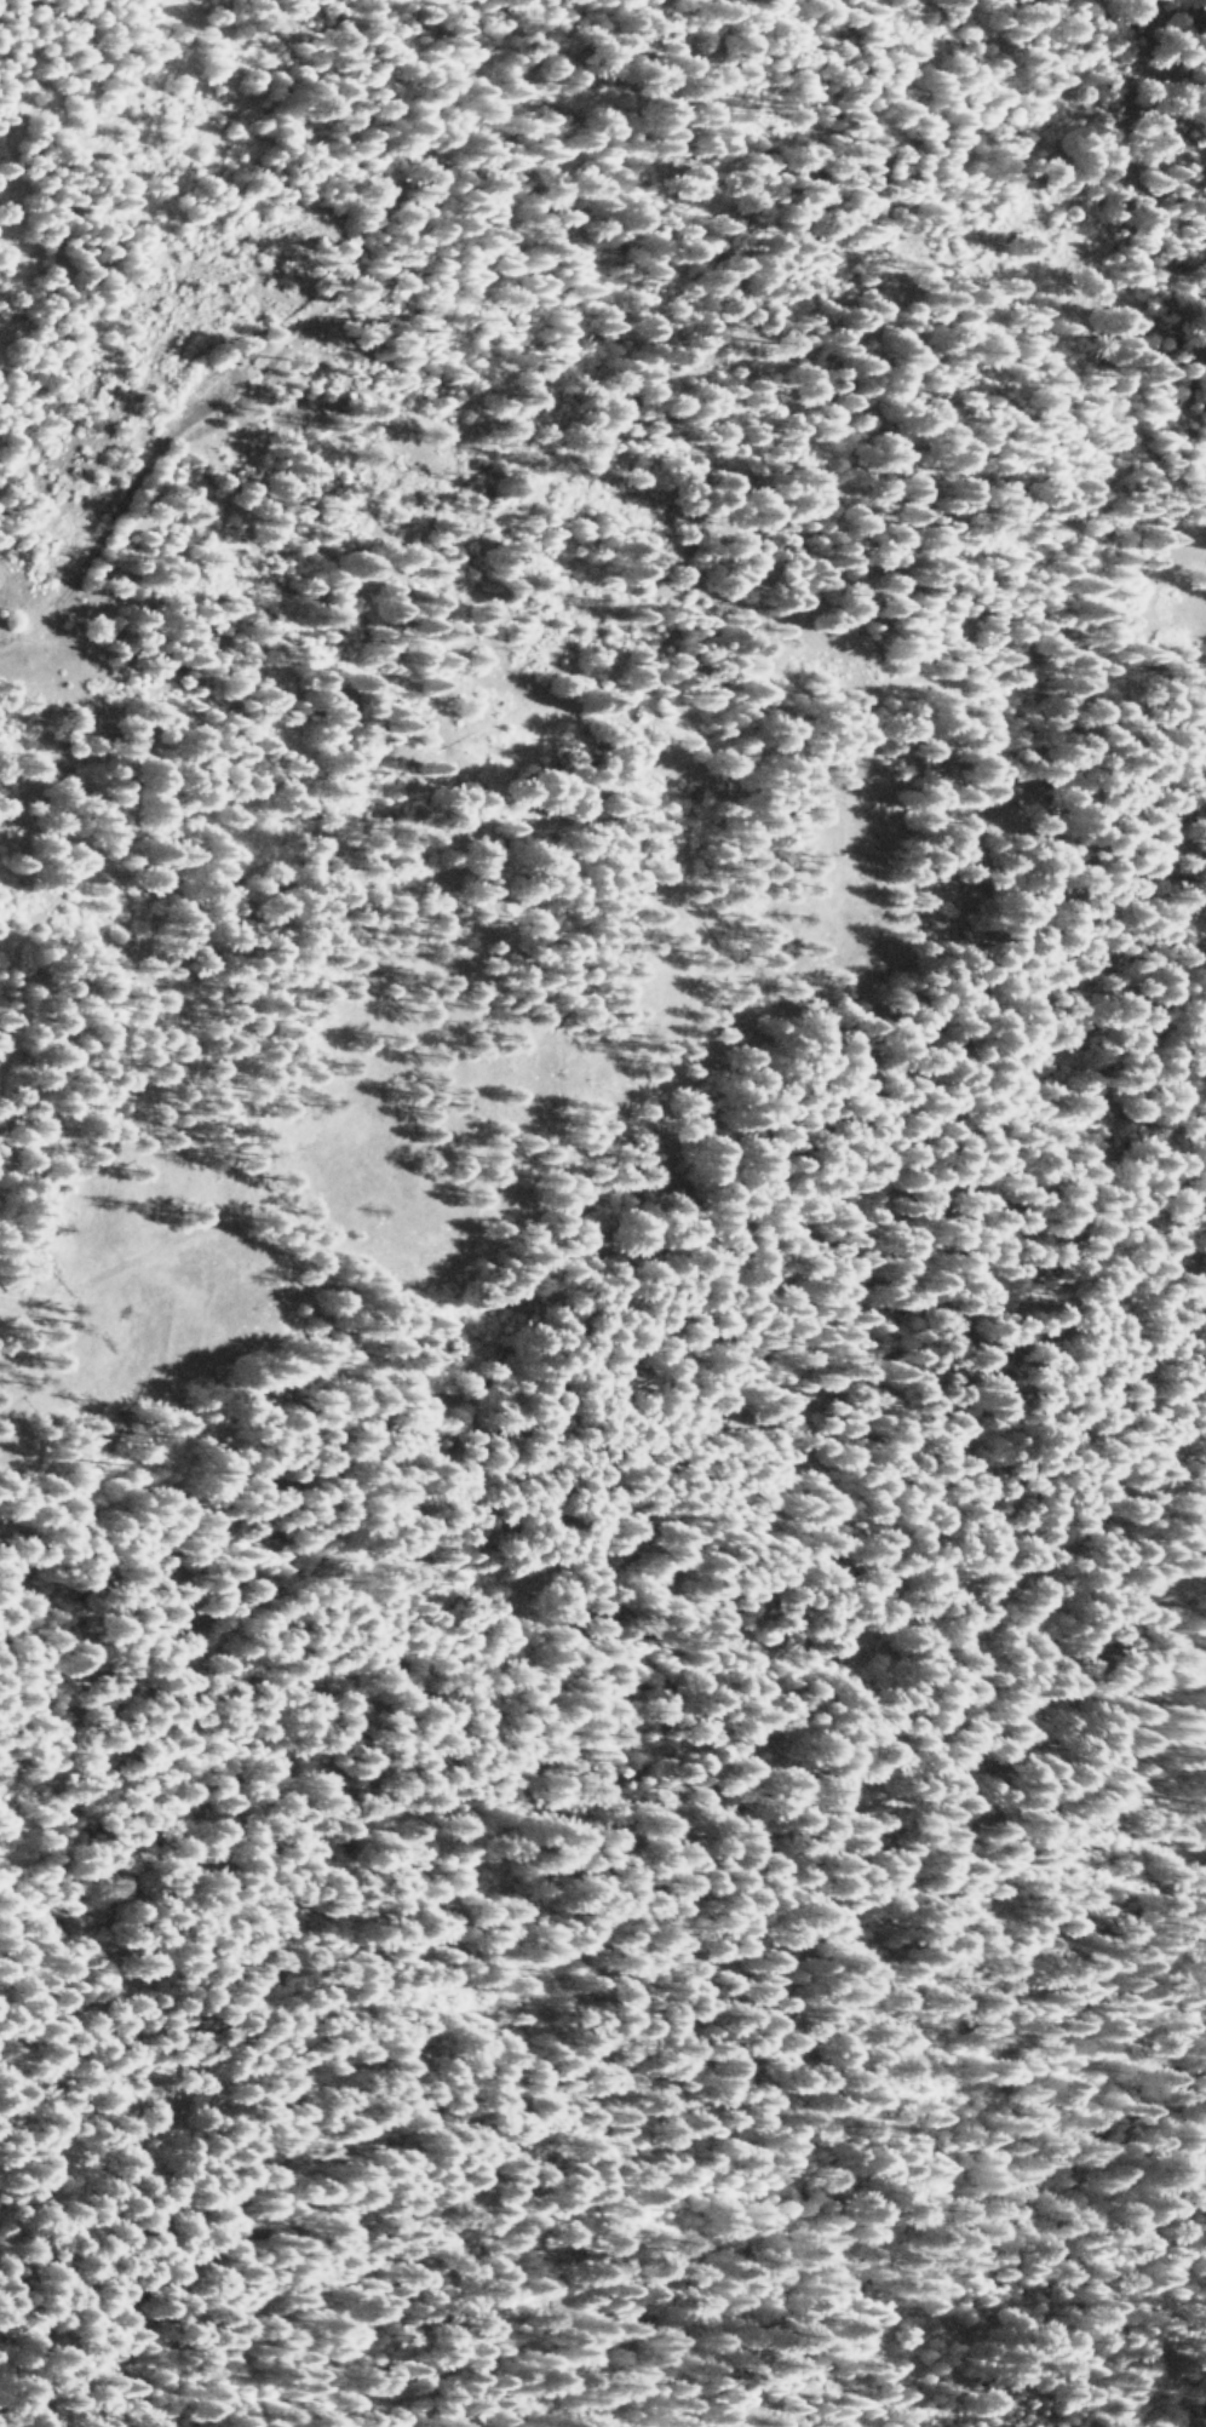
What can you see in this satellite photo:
road: (117, 513)

